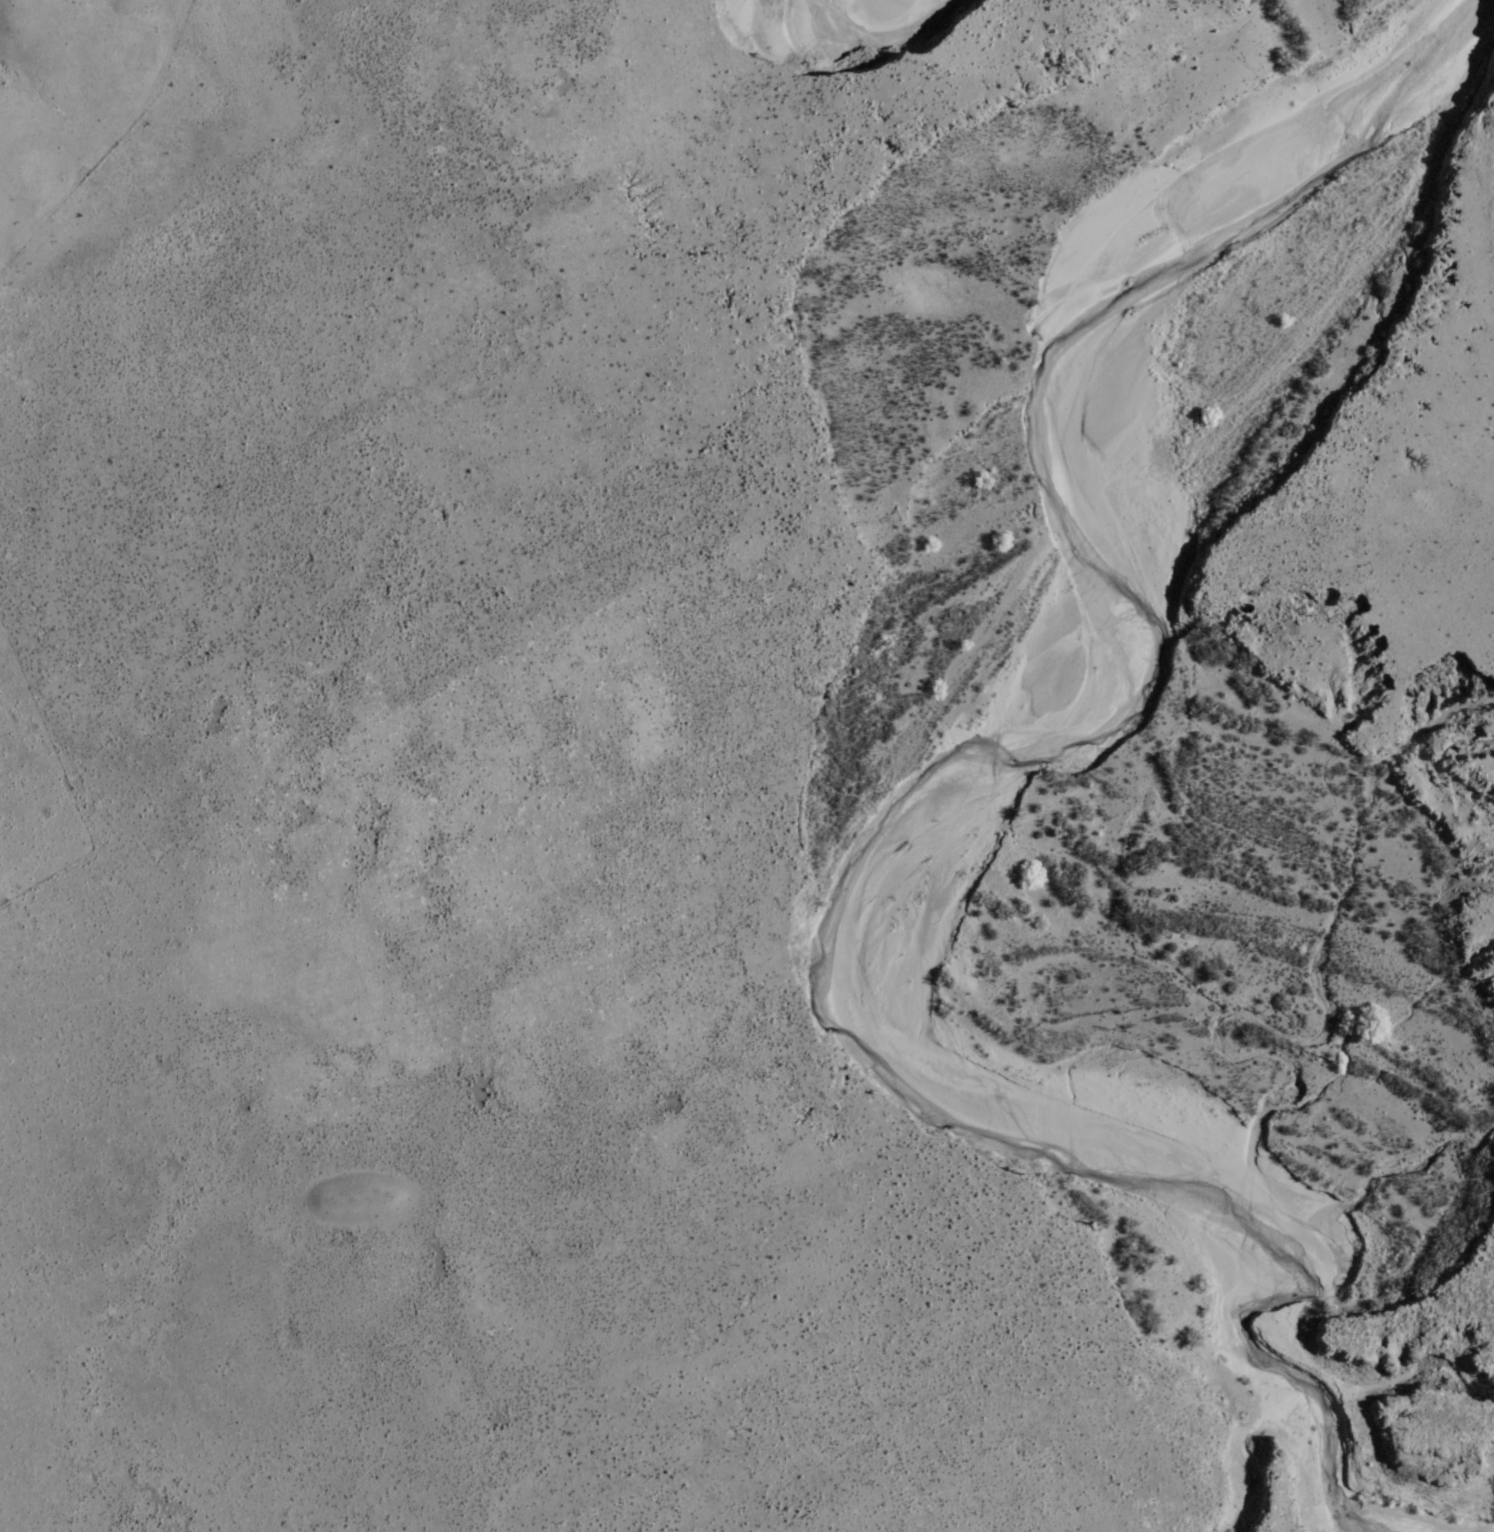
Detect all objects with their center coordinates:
river: (910, 824)

